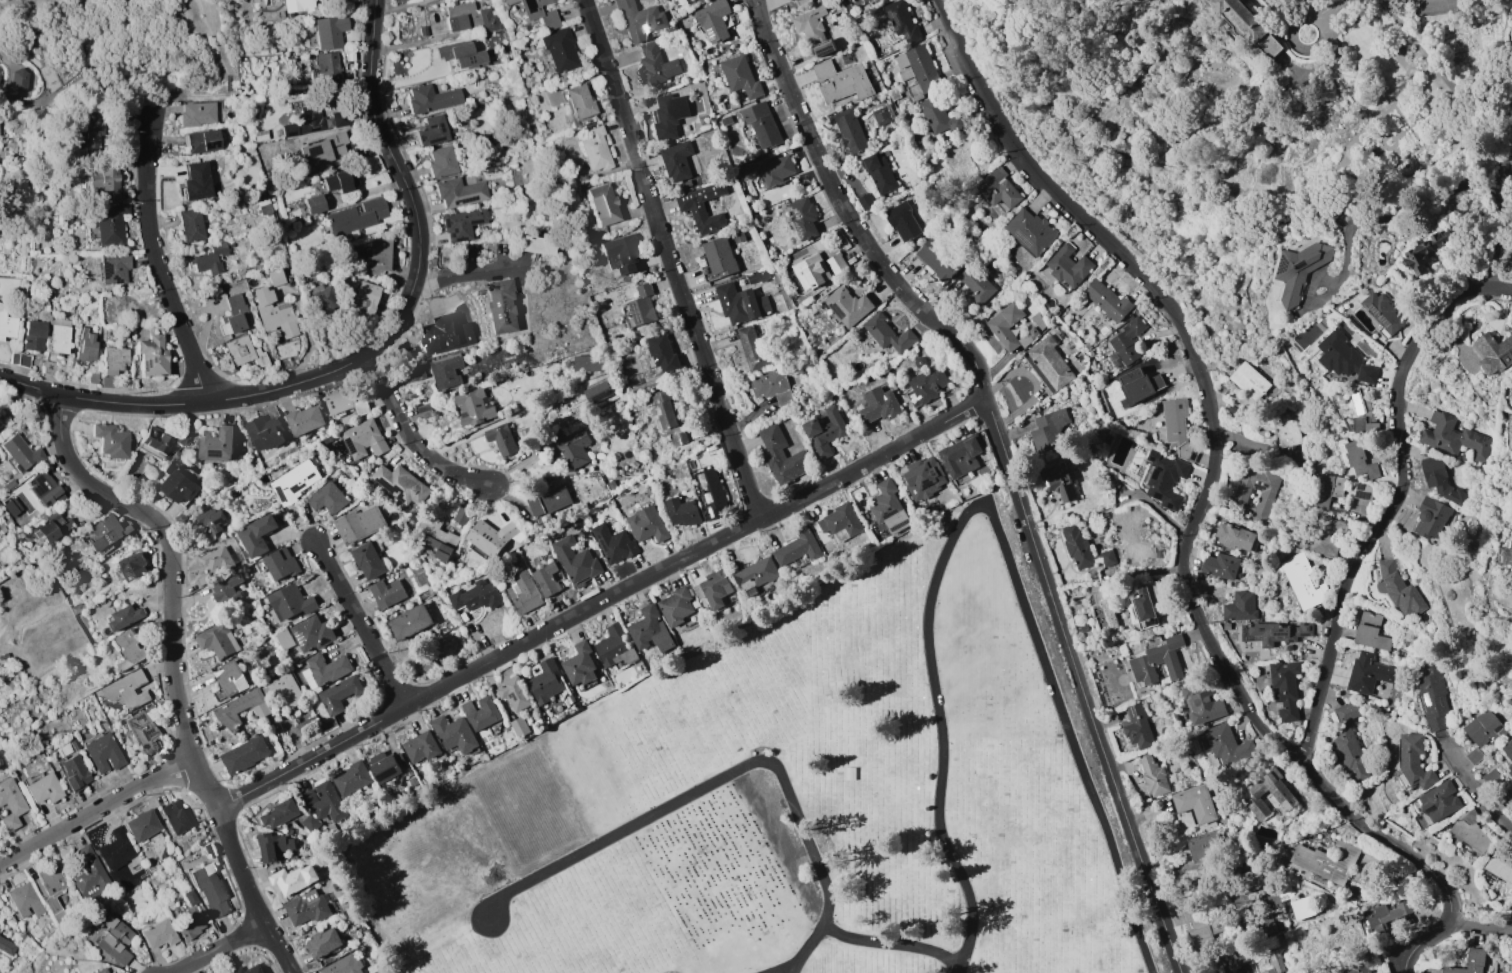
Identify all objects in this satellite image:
building: (791, 0)
building: (867, 0)
building: (457, 1)
building: (697, 1)
building: (259, 2)
building: (300, 5)
road: (1332, 7)
building: (539, 13)
building: (282, 14)
building: (472, 18)
building: (639, 20)
building: (901, 20)
building: (713, 21)
building: (1247, 27)
building: (331, 31)
building: (422, 31)
building: (813, 31)
road: (211, 37)
building: (484, 37)
building: (559, 49)
building: (469, 52)
park: (113, 53)
road: (1, 56)
road: (8, 56)
road: (46, 56)
road: (30, 57)
building: (655, 65)
building: (327, 66)
building: (919, 67)
road: (9, 74)
building: (740, 77)
building: (19, 80)
building: (841, 81)
road: (227, 82)
road: (173, 93)
road: (227, 94)
building: (431, 99)
building: (580, 100)
road: (157, 108)
building: (198, 114)
building: (669, 115)
building: (939, 117)
building: (341, 118)
building: (305, 121)
building: (761, 124)
building: (91, 129)
building: (850, 130)
building: (432, 131)
building: (202, 141)
building: (322, 149)
building: (595, 149)
building: (441, 161)
building: (676, 161)
building: (776, 170)
building: (879, 174)
building: (200, 177)
building: (104, 180)
building: (337, 182)
building: (998, 189)
road: (1470, 189)
building: (460, 192)
building: (314, 204)
building: (601, 204)
building: (690, 205)
building: (266, 208)
building: (803, 217)
building: (353, 219)
building: (301, 221)
building: (903, 221)
building: (463, 223)
building: (111, 225)
building: (191, 225)
building: (1030, 231)
building: (536, 244)
building: (1422, 251)
building: (621, 252)
building: (378, 255)
building: (346, 256)
building: (210, 257)
building: (719, 257)
building: (938, 259)
road: (670, 261)
road: (156, 262)
building: (1068, 266)
building: (113, 269)
building: (817, 269)
road: (469, 270)
building: (1298, 270)
building: (277, 276)
building: (757, 276)
building: (240, 283)
building: (975, 285)
road: (1503, 289)
building: (366, 297)
building: (322, 298)
building: (1106, 300)
building: (740, 303)
building: (503, 306)
building: (641, 306)
building: (847, 306)
building: (1382, 312)
building: (274, 313)
building: (234, 314)
building: (6, 322)
building: (1005, 325)
building: (888, 334)
building: (34, 335)
building: (445, 335)
building: (59, 337)
building: (1125, 343)
building: (86, 347)
building: (753, 349)
building: (245, 352)
road: (365, 352)
building: (1493, 352)
building: (662, 353)
building: (152, 355)
building: (16, 356)
building: (1343, 358)
building: (25, 360)
building: (115, 360)
building: (589, 363)
building: (1047, 364)
building: (50, 367)
building: (447, 370)
building: (416, 372)
building: (94, 377)
building: (1249, 381)
building: (927, 384)
building: (771, 386)
building: (1138, 386)
building: (597, 392)
building: (346, 403)
building: (475, 406)
building: (878, 406)
building: (663, 408)
building: (424, 410)
building: (1361, 411)
building: (304, 420)
building: (1175, 427)
building: (1286, 429)
building: (1048, 430)
building: (265, 431)
building: (824, 431)
building: (1451, 436)
building: (163, 437)
road: (409, 438)
building: (678, 438)
building: (364, 439)
building: (500, 439)
building: (327, 440)
building: (111, 441)
building: (217, 444)
building: (570, 449)
building: (21, 452)
building: (960, 455)
building: (781, 456)
building: (1355, 458)
road: (1008, 463)
road: (1215, 469)
building: (923, 478)
building: (1164, 479)
building: (1440, 480)
building: (296, 481)
building: (1057, 482)
building: (402, 484)
building: (9, 485)
building: (178, 487)
building: (1256, 488)
building: (45, 490)
building: (1325, 490)
building: (712, 494)
building: (328, 499)
building: (549, 501)
building: (886, 506)
building: (12, 507)
building: (681, 511)
road: (1391, 511)
road: (985, 512)
building: (464, 515)
building: (298, 517)
building: (1430, 519)
building: (838, 520)
building: (212, 521)
building: (360, 524)
building: (646, 524)
building: (53, 528)
building: (4, 530)
building: (108, 533)
building: (257, 535)
building: (436, 536)
building: (1326, 536)
building: (1233, 537)
building: (490, 541)
building: (611, 543)
building: (797, 548)
building: (1083, 549)
building: (5, 553)
building: (1507, 555)
road: (168, 556)
building: (215, 557)
building: (368, 560)
building: (574, 560)
building: (282, 563)
building: (1220, 566)
building: (133, 567)
building: (754, 576)
building: (204, 579)
building: (546, 579)
building: (1301, 582)
building: (715, 588)
building: (227, 590)
building: (1399, 590)
building: (521, 592)
building: (387, 593)
building: (476, 596)
road: (599, 601)
building: (292, 602)
building: (1146, 604)
building: (676, 605)
building: (1240, 606)
building: (79, 608)
building: (124, 618)
building: (410, 622)
road: (359, 624)
building: (145, 627)
building: (649, 629)
building: (1274, 632)
building: (1370, 632)
building: (313, 633)
building: (285, 639)
building: (217, 640)
building: (615, 645)
building: (130, 650)
building: (1157, 661)
building: (578, 664)
building: (297, 665)
building: (325, 670)
building: (1367, 673)
building: (230, 678)
building: (545, 683)
building: (283, 689)
building: (1285, 689)
building: (129, 692)
building: (340, 694)
building: (512, 694)
building: (1433, 698)
building: (1201, 703)
building: (227, 711)
building: (481, 712)
building: (1347, 712)
building: (1136, 727)
building: (144, 729)
building: (1483, 729)
building: (455, 734)
building: (75, 744)
building: (1226, 744)
building: (421, 747)
building: (64, 751)
building: (103, 752)
building: (1350, 754)
building: (1508, 754)
building: (246, 755)
building: (1414, 761)
building: (385, 767)
building: (409, 772)
road: (734, 772)
building: (76, 773)
building: (1153, 776)
building: (353, 778)
building: (412, 781)
building: (43, 787)
road: (204, 788)
road: (1475, 790)
building: (1282, 796)
building: (309, 797)
park: (790, 799)
building: (1508, 799)
building: (1439, 801)
building: (329, 802)
building: (12, 803)
building: (1194, 803)
road: (95, 811)
building: (280, 813)
building: (175, 817)
building: (311, 823)
building: (0, 824)
building: (143, 825)
building: (1470, 831)
building: (1204, 845)
building: (274, 846)
building: (116, 849)
building: (292, 858)
building: (1325, 861)
building: (1500, 866)
building: (151, 867)
building: (90, 874)
road: (1192, 877)
building: (294, 879)
building: (52, 880)
building: (1252, 880)
building: (339, 884)
building: (211, 889)
road: (247, 893)
building: (25, 900)
building: (308, 907)
building: (1301, 908)
building: (56, 910)
building: (0, 913)
building: (1387, 914)
building: (189, 923)
building: (1262, 924)
building: (1, 925)
building: (1199, 926)
road: (1482, 931)
building: (158, 934)
road: (1418, 940)
building: (115, 941)
building: (323, 942)
building: (39, 943)
road: (897, 943)
building: (8, 946)
road: (217, 948)
building: (1468, 962)
building: (344, 965)
building: (1273, 965)
building: (249, 969)
road: (792, 969)
building: (102, 971)
building: (72, 972)

